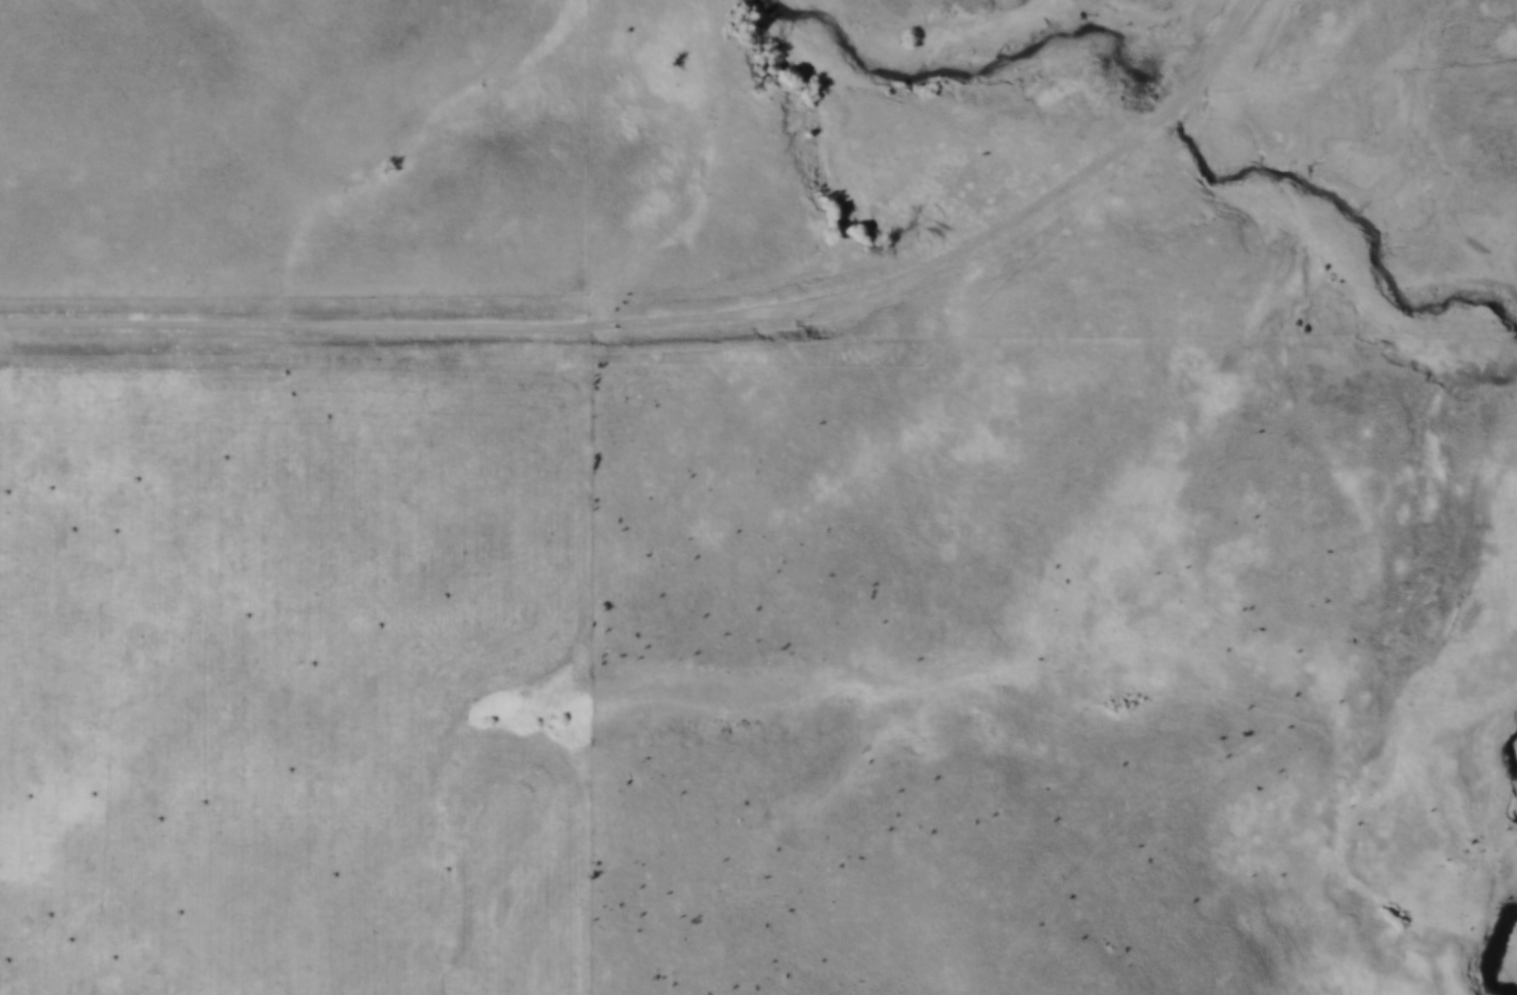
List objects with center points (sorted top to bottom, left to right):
road: (682, 321)

